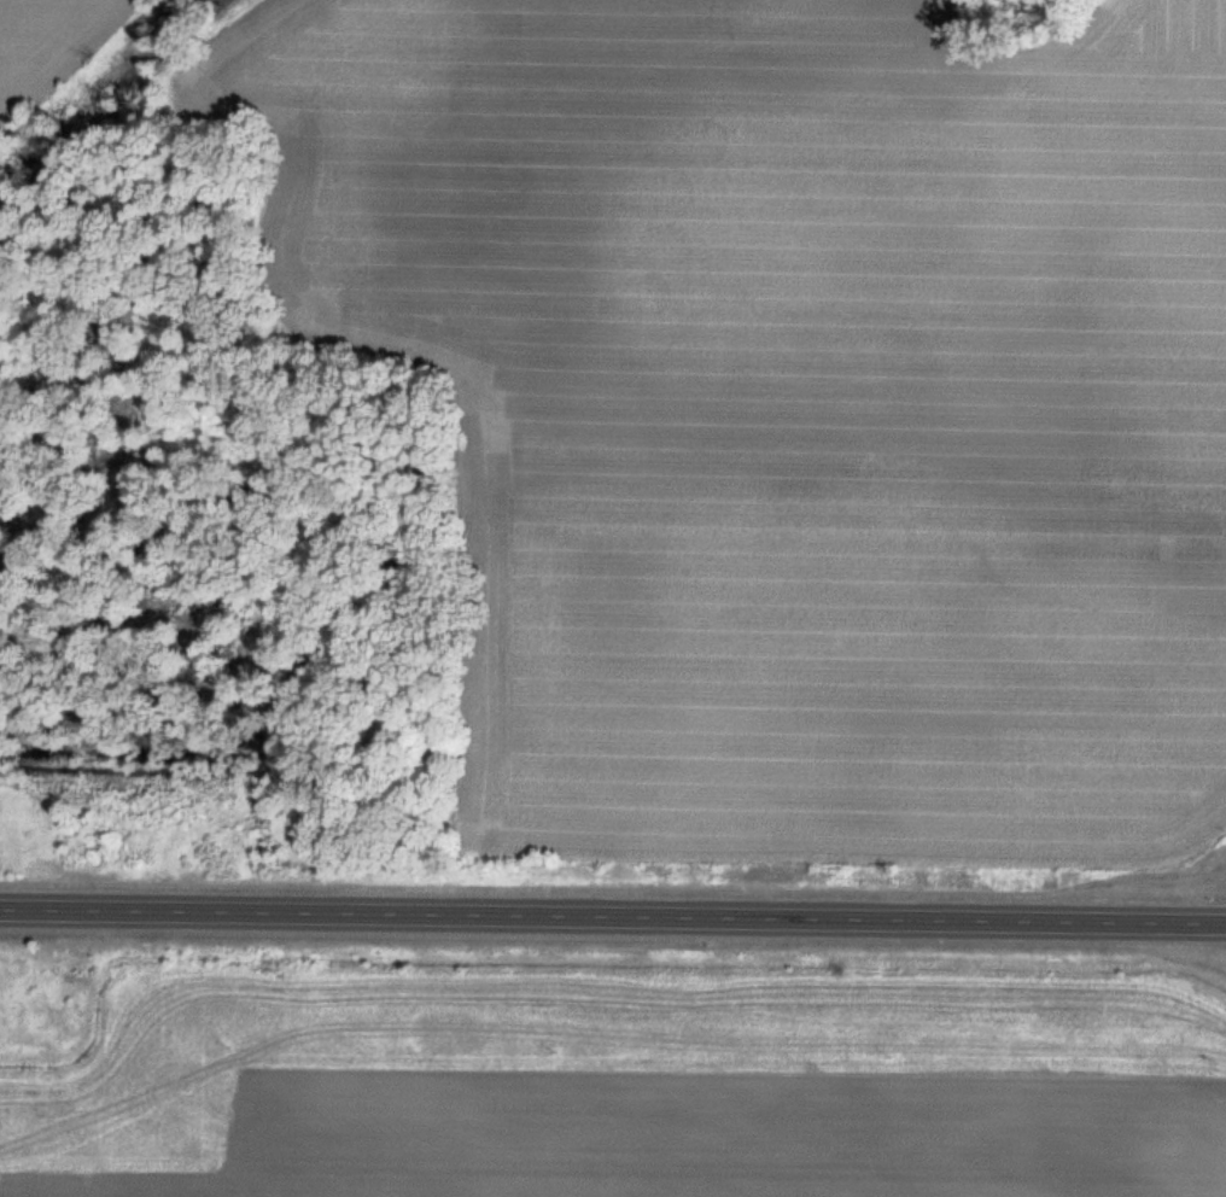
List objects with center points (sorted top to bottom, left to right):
road: (613, 913)

